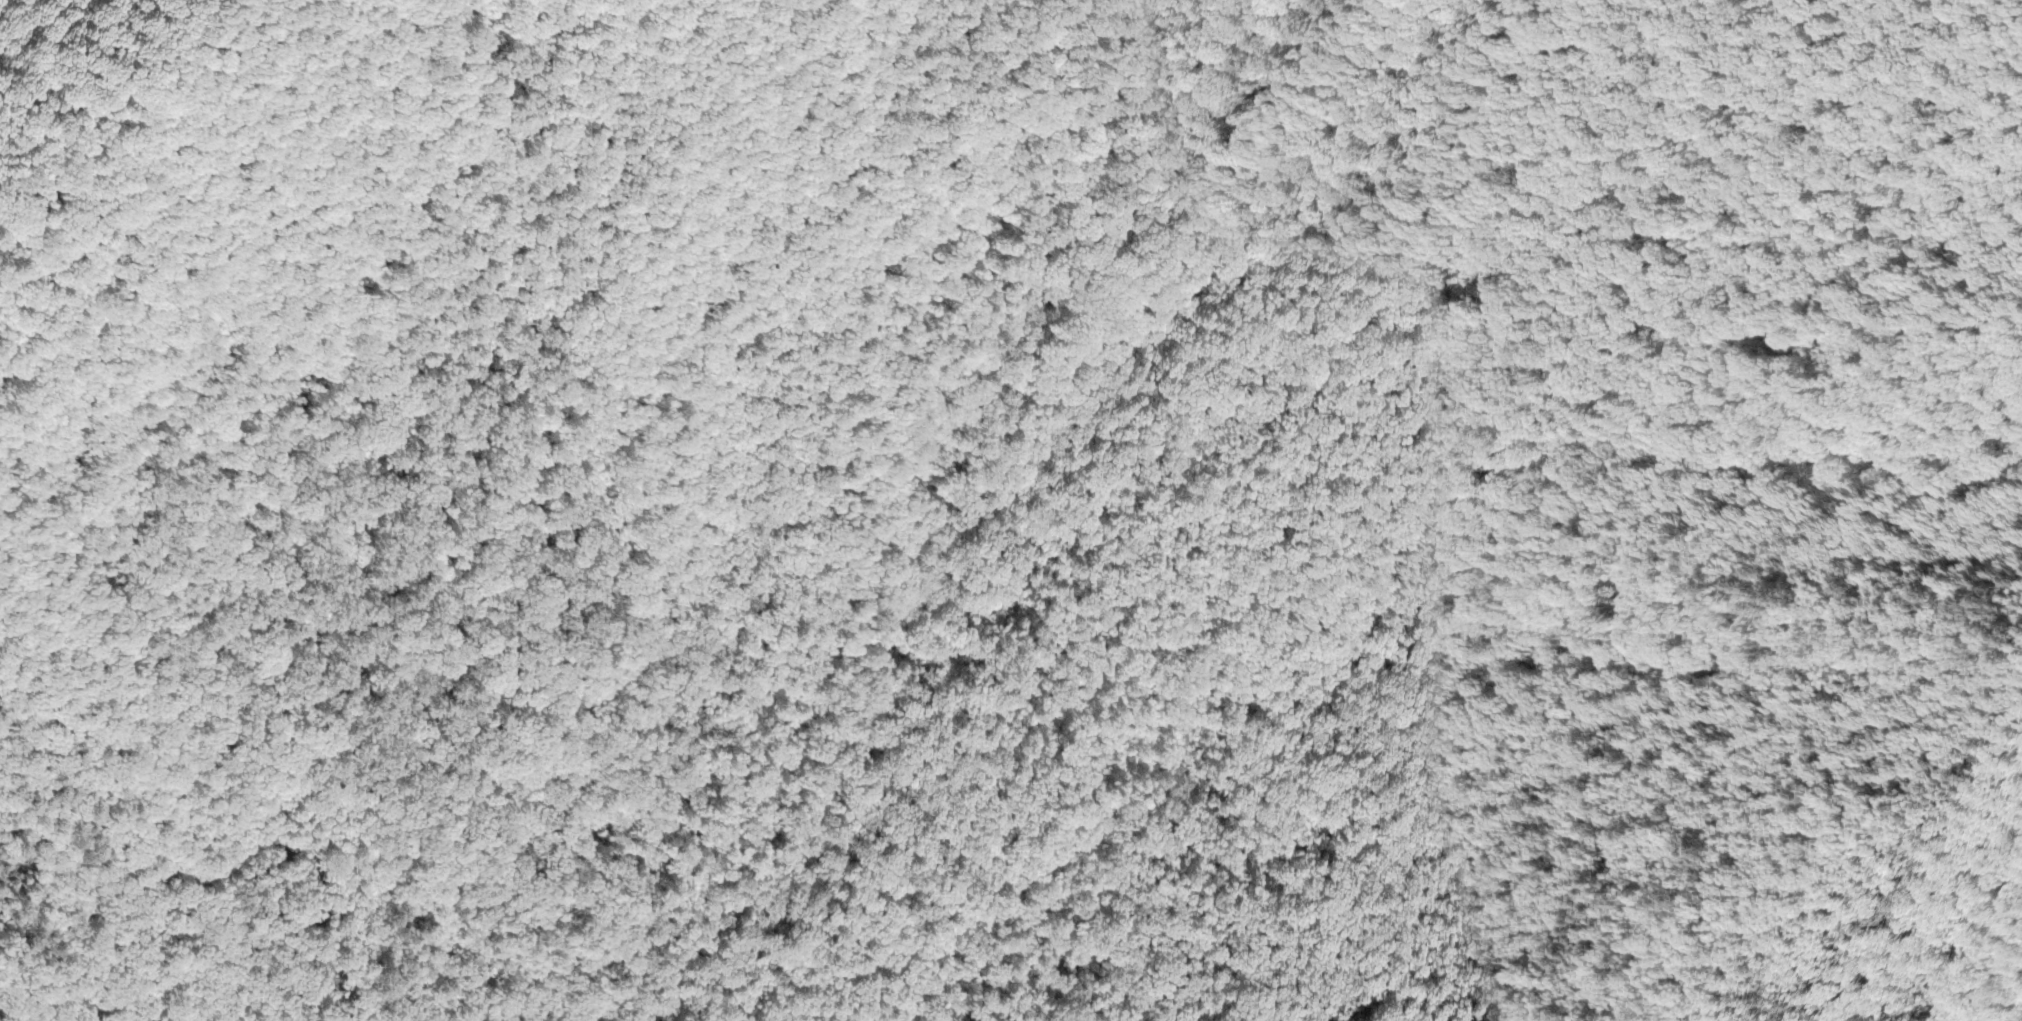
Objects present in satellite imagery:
road: (684, 602)

